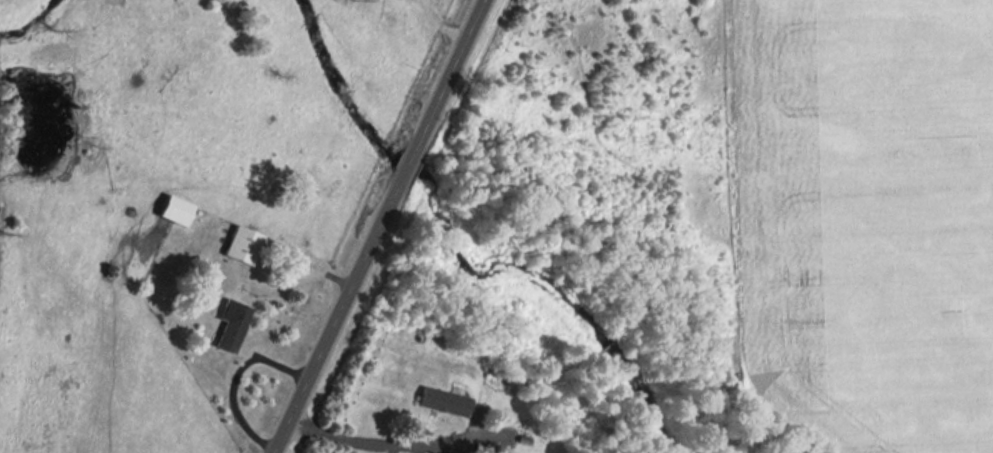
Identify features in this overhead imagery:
building: (176, 211)
road: (370, 226)
building: (244, 246)
building: (234, 329)
building: (473, 416)

